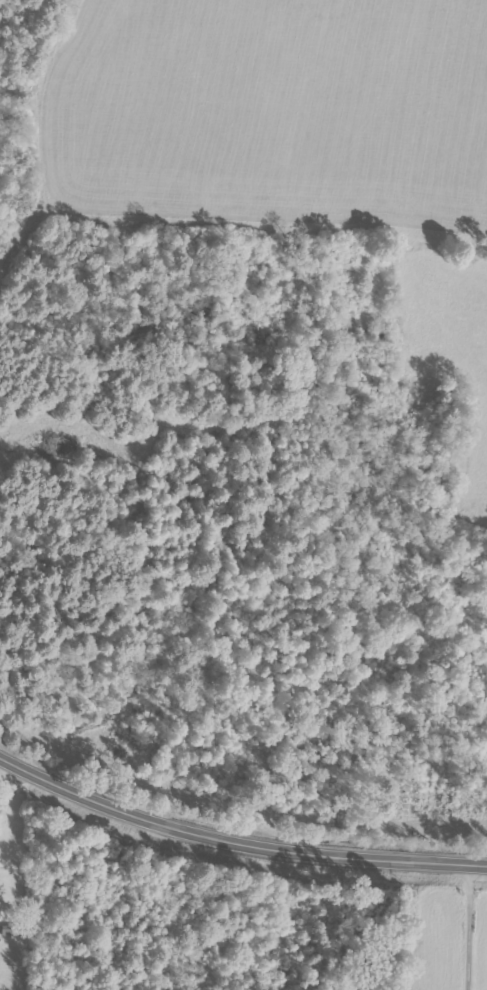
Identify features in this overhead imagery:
road: (236, 840)

